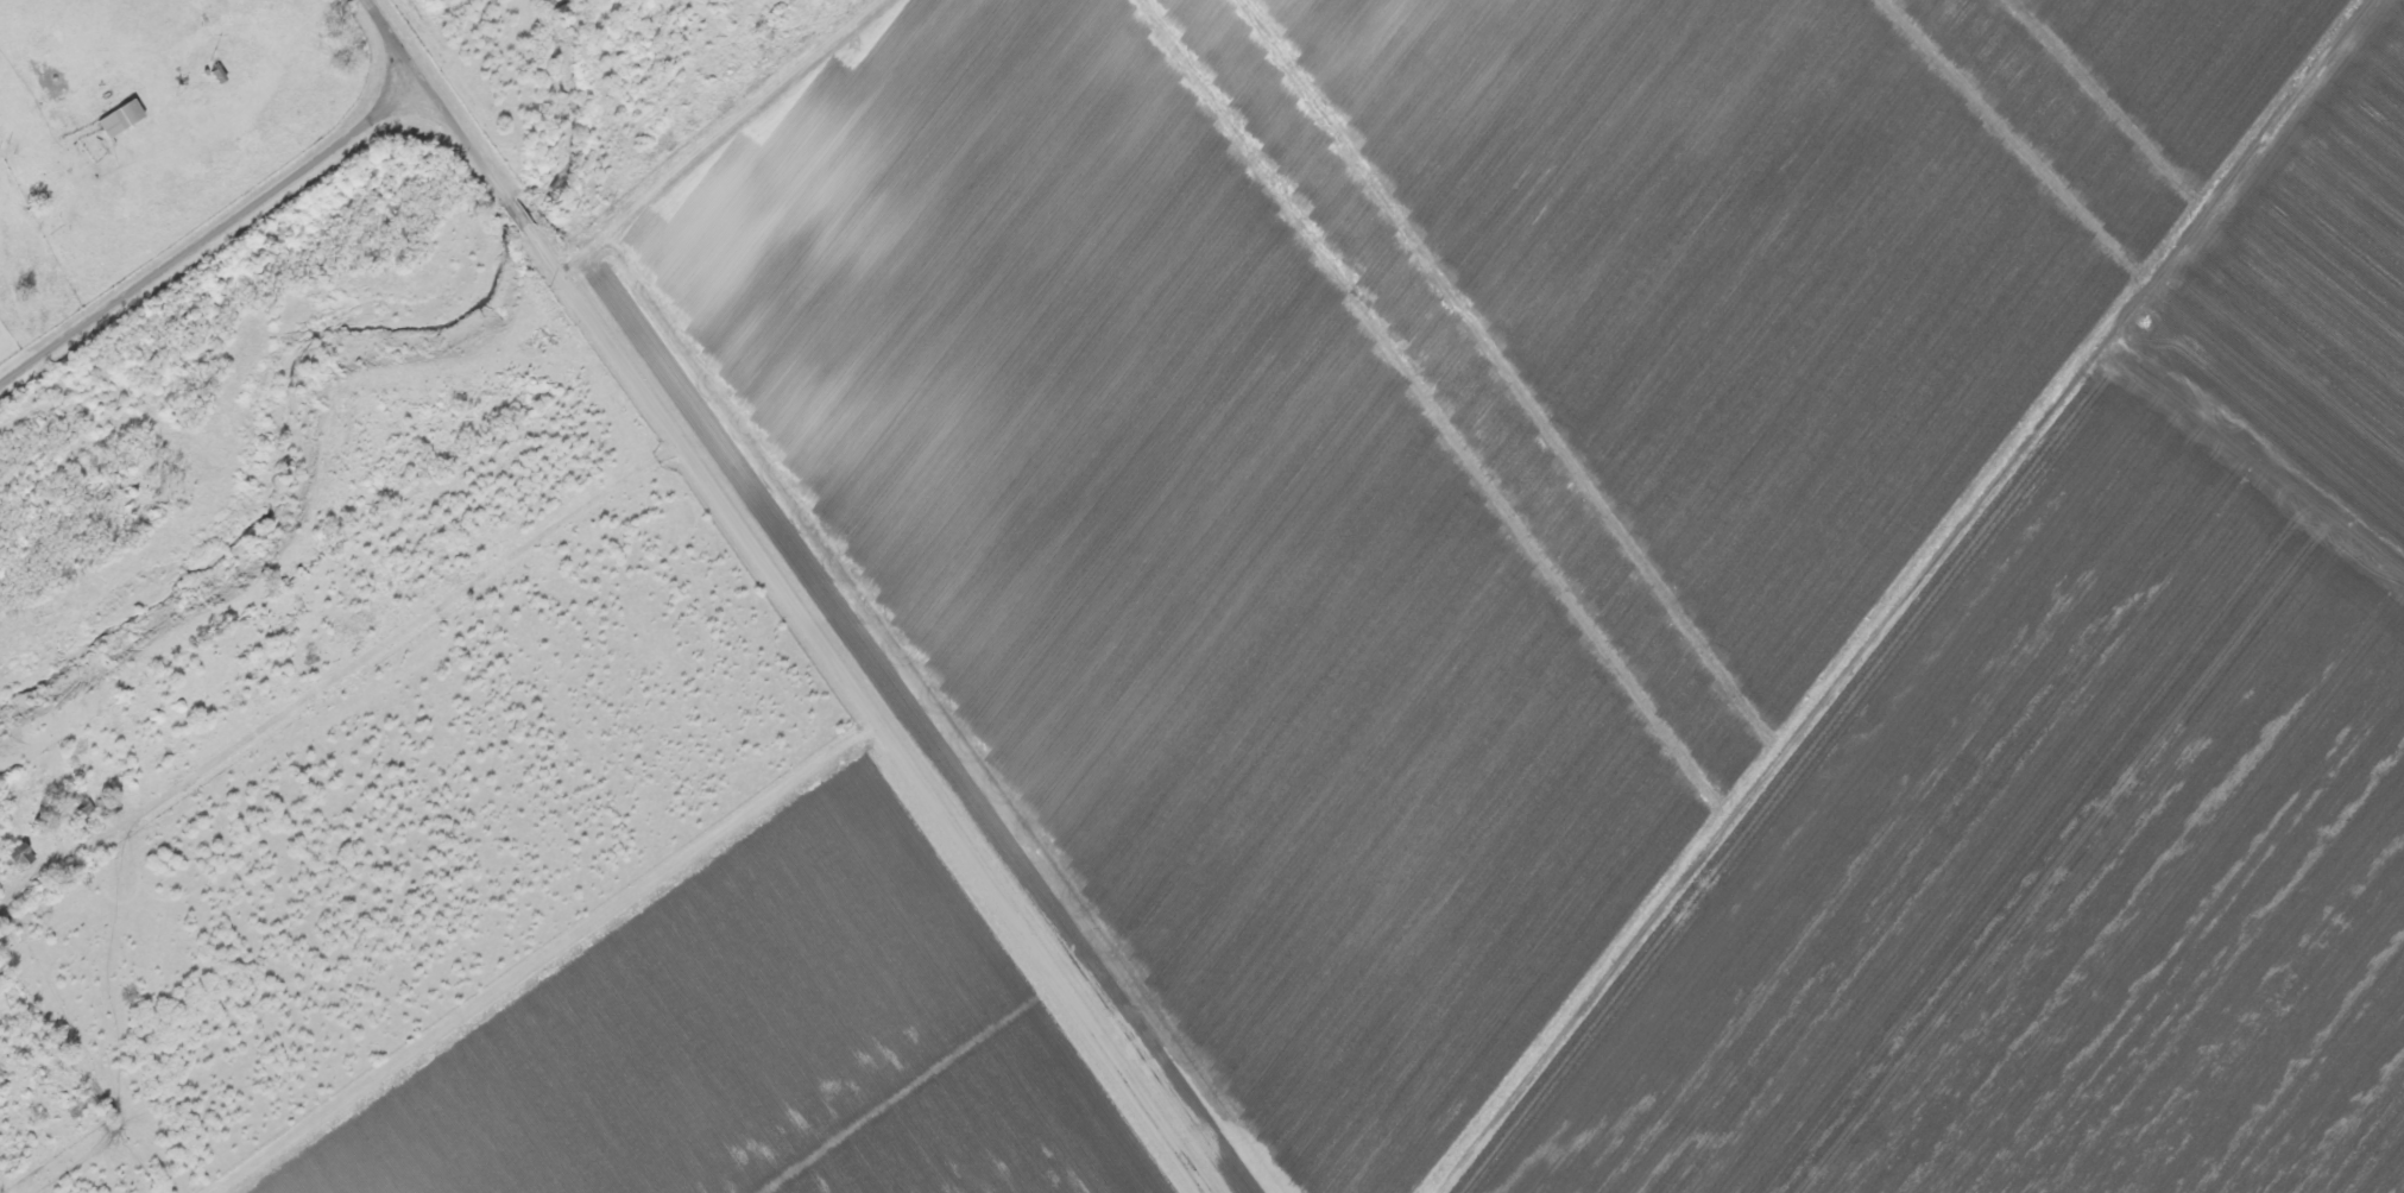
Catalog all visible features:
building: (122, 120)
road: (214, 227)
road: (793, 595)

